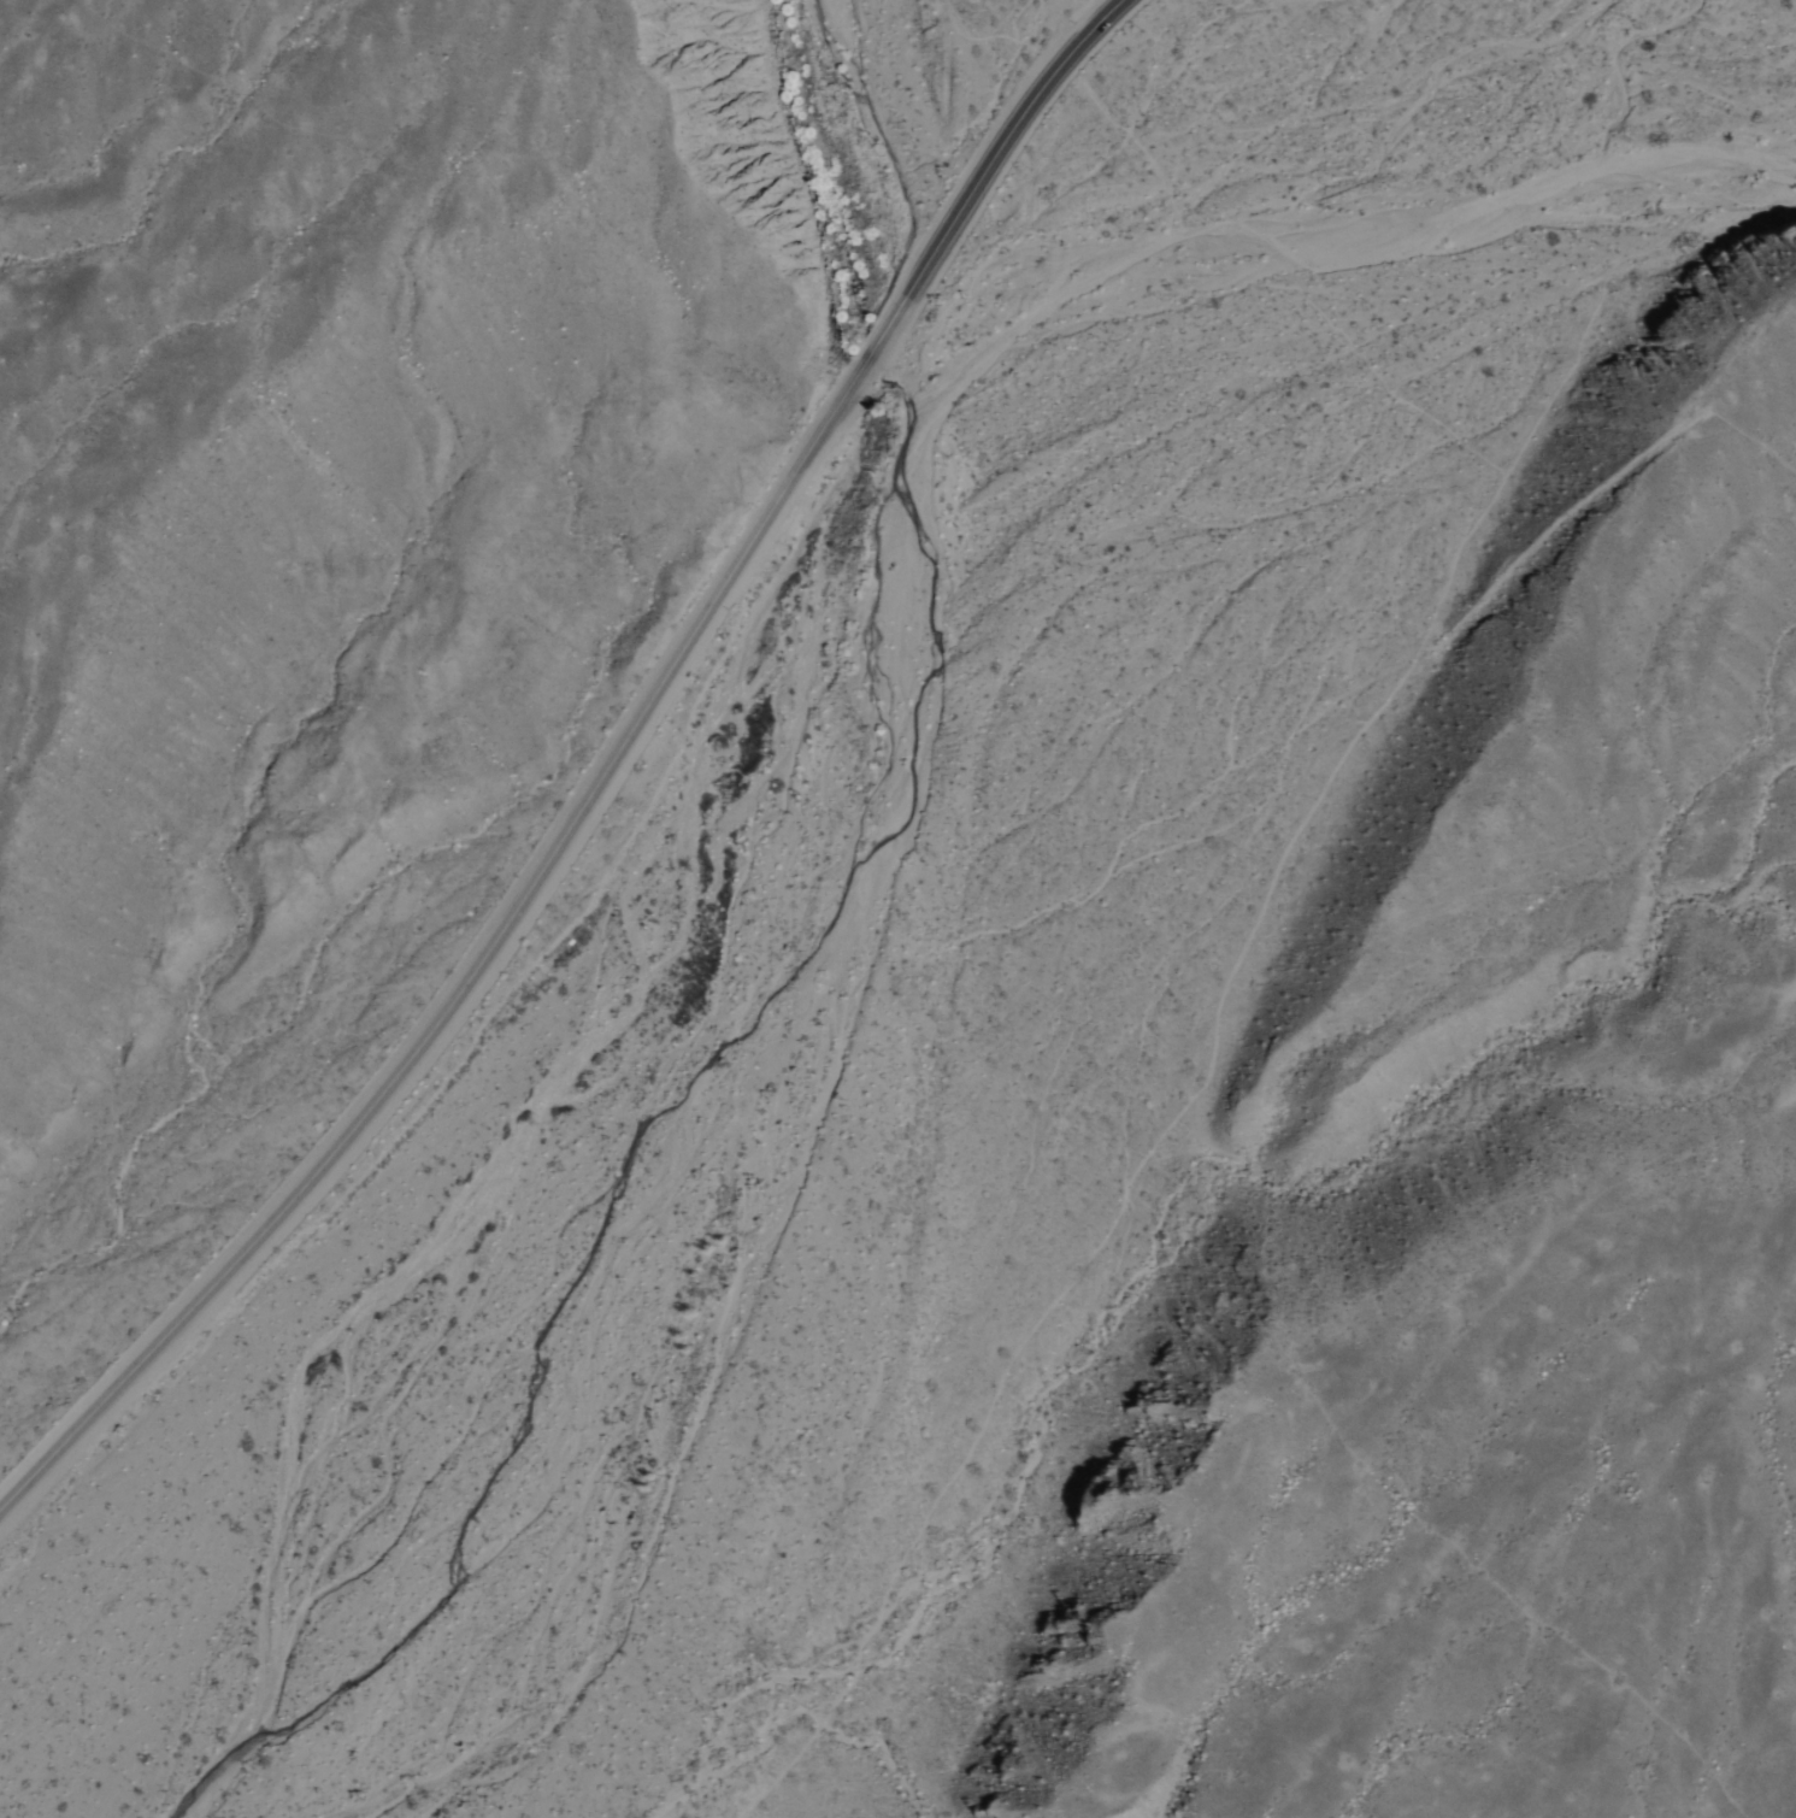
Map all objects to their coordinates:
road: (982, 37)
road: (599, 783)

